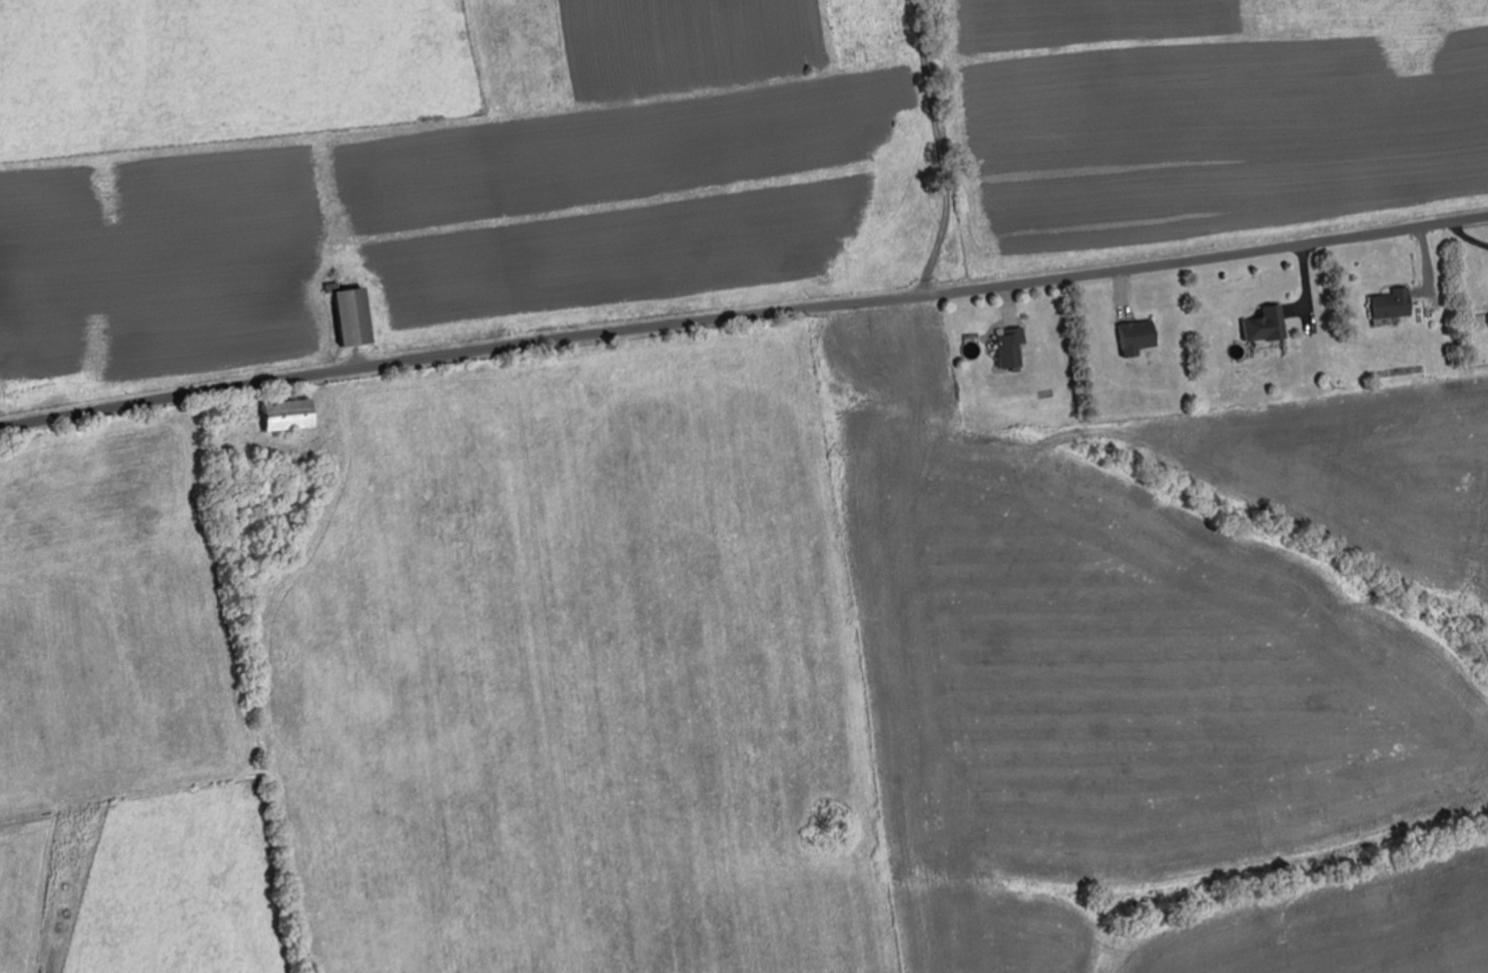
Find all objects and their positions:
road: (962, 144)
building: (1395, 304)
road: (743, 315)
building: (357, 317)
building: (1271, 325)
building: (1143, 337)
building: (1016, 349)
building: (293, 415)

